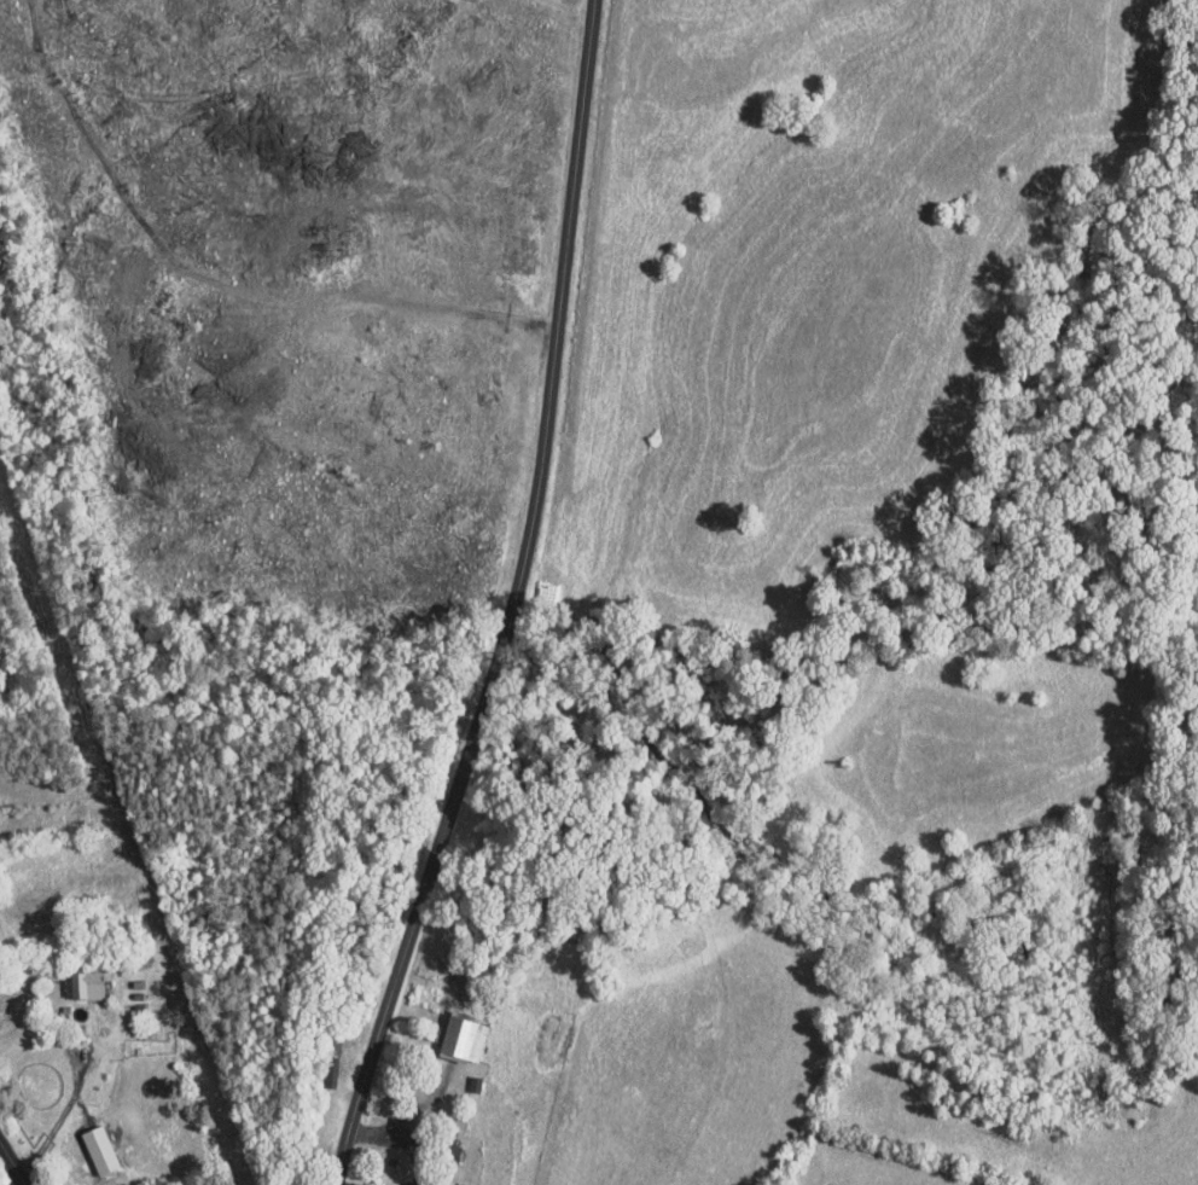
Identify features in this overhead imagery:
road: (514, 602)
building: (82, 983)
building: (461, 1036)
road: (64, 1111)
building: (98, 1148)
building: (449, 1151)
road: (17, 1160)

